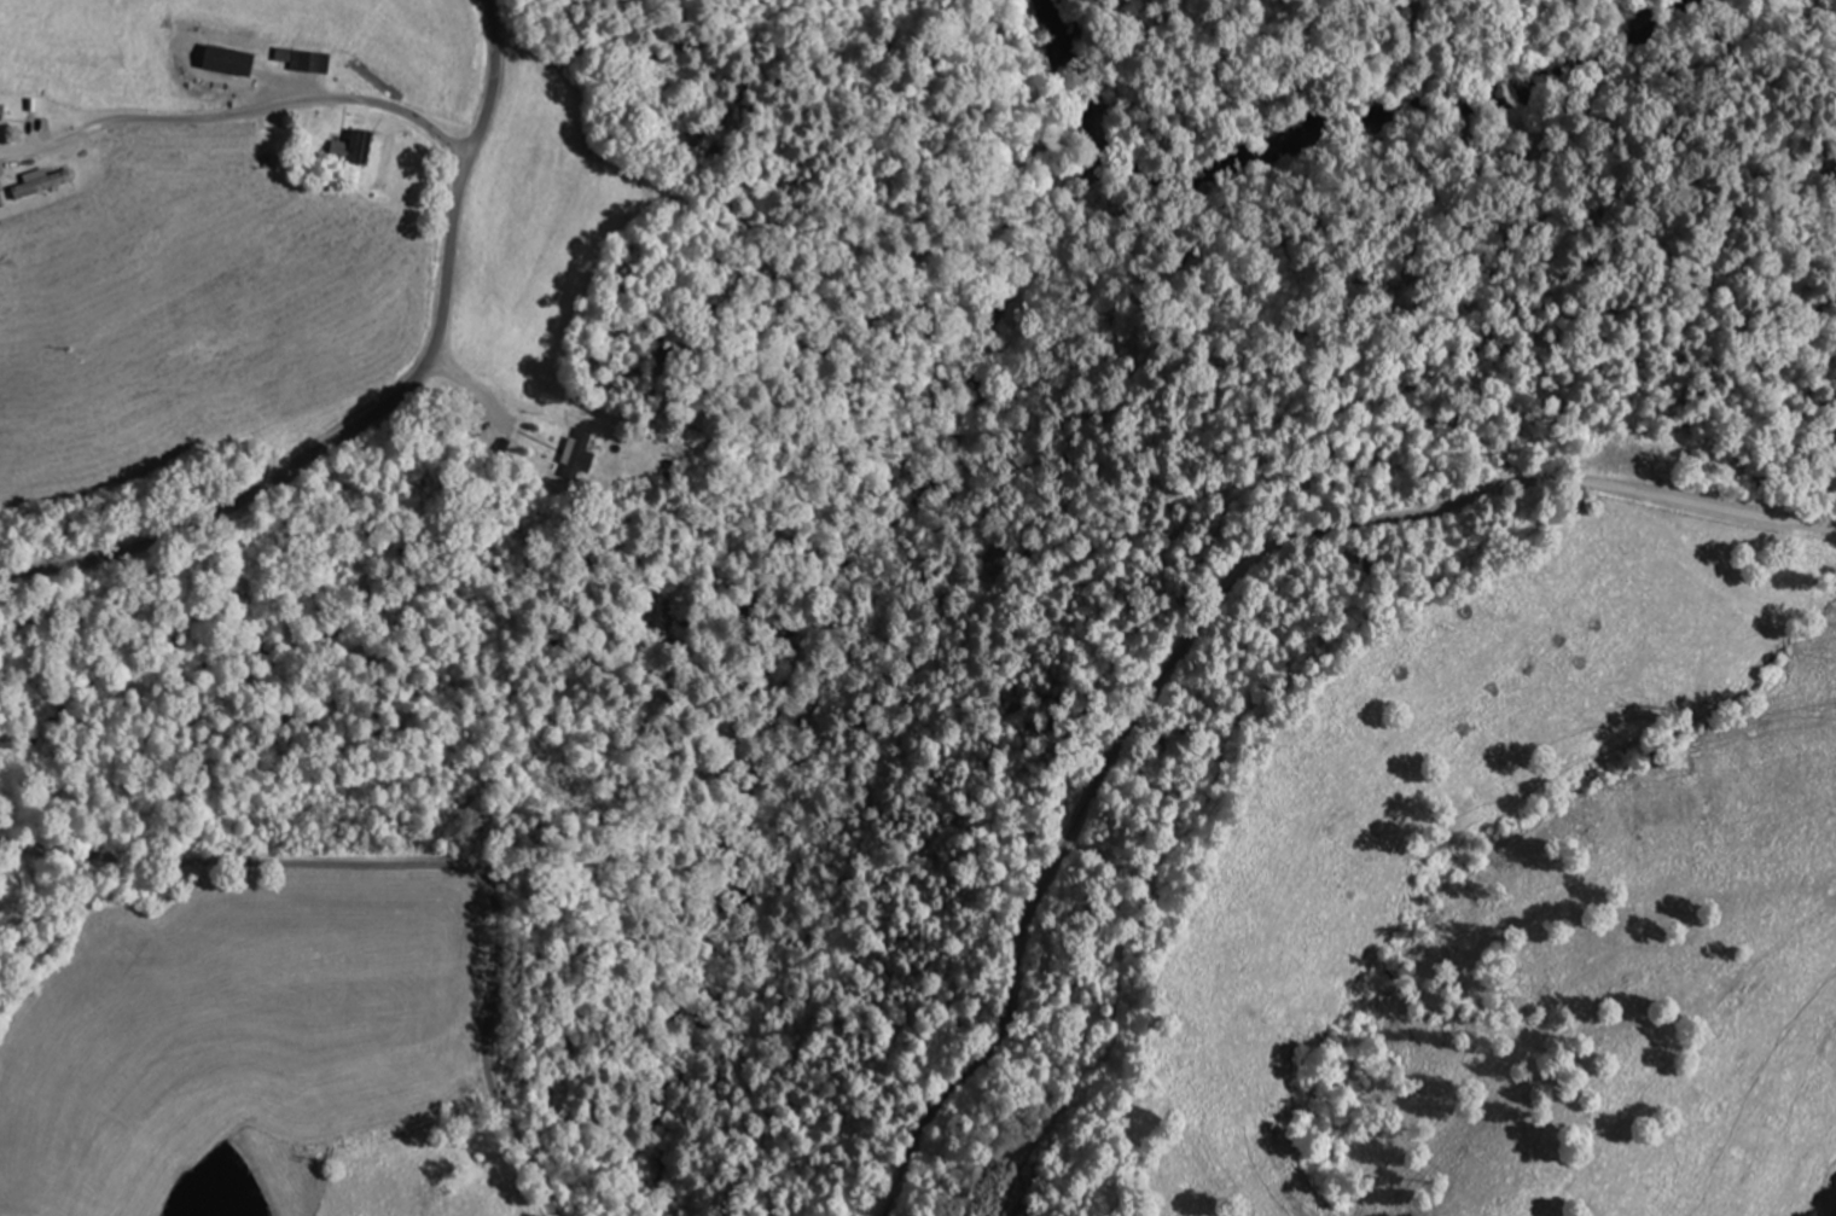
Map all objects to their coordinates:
building: (221, 62)
building: (298, 62)
road: (489, 80)
road: (240, 114)
building: (351, 149)
building: (466, 427)
road: (321, 456)
road: (1201, 626)
road: (417, 866)

